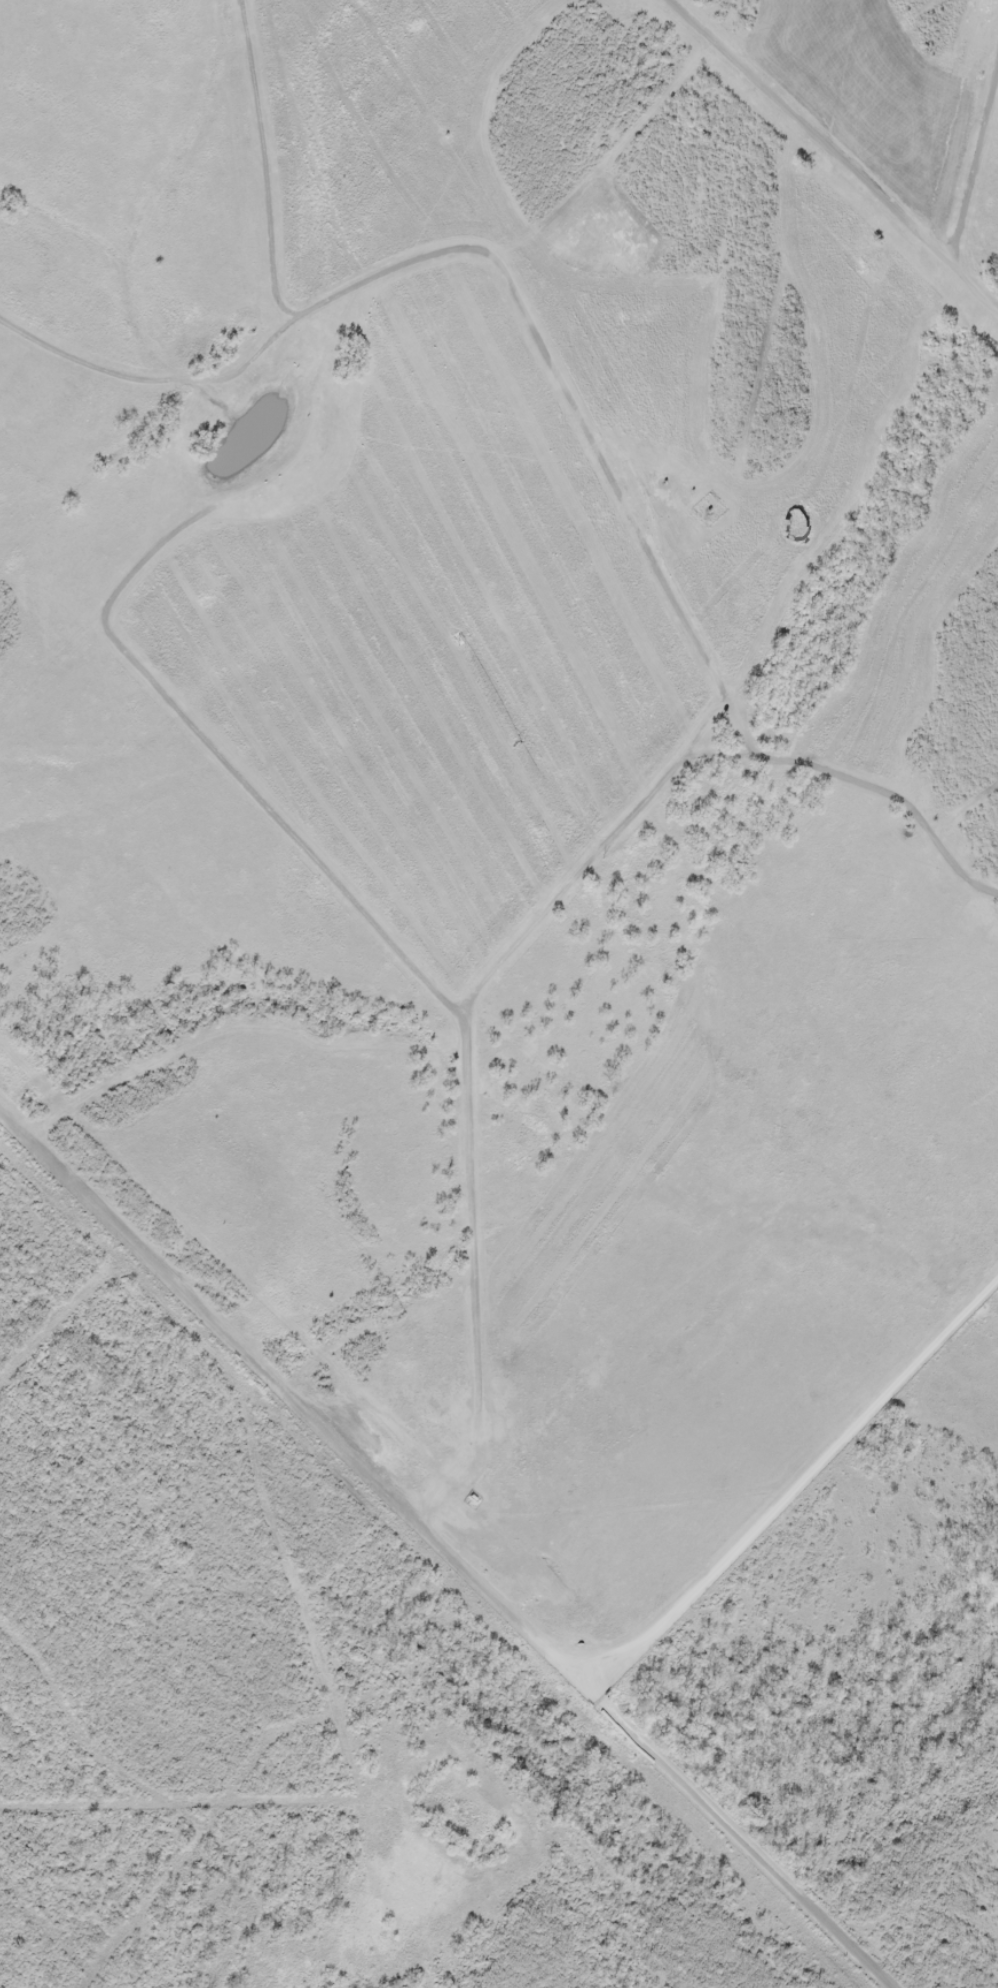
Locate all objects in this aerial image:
road: (856, 129)
road: (435, 1689)

